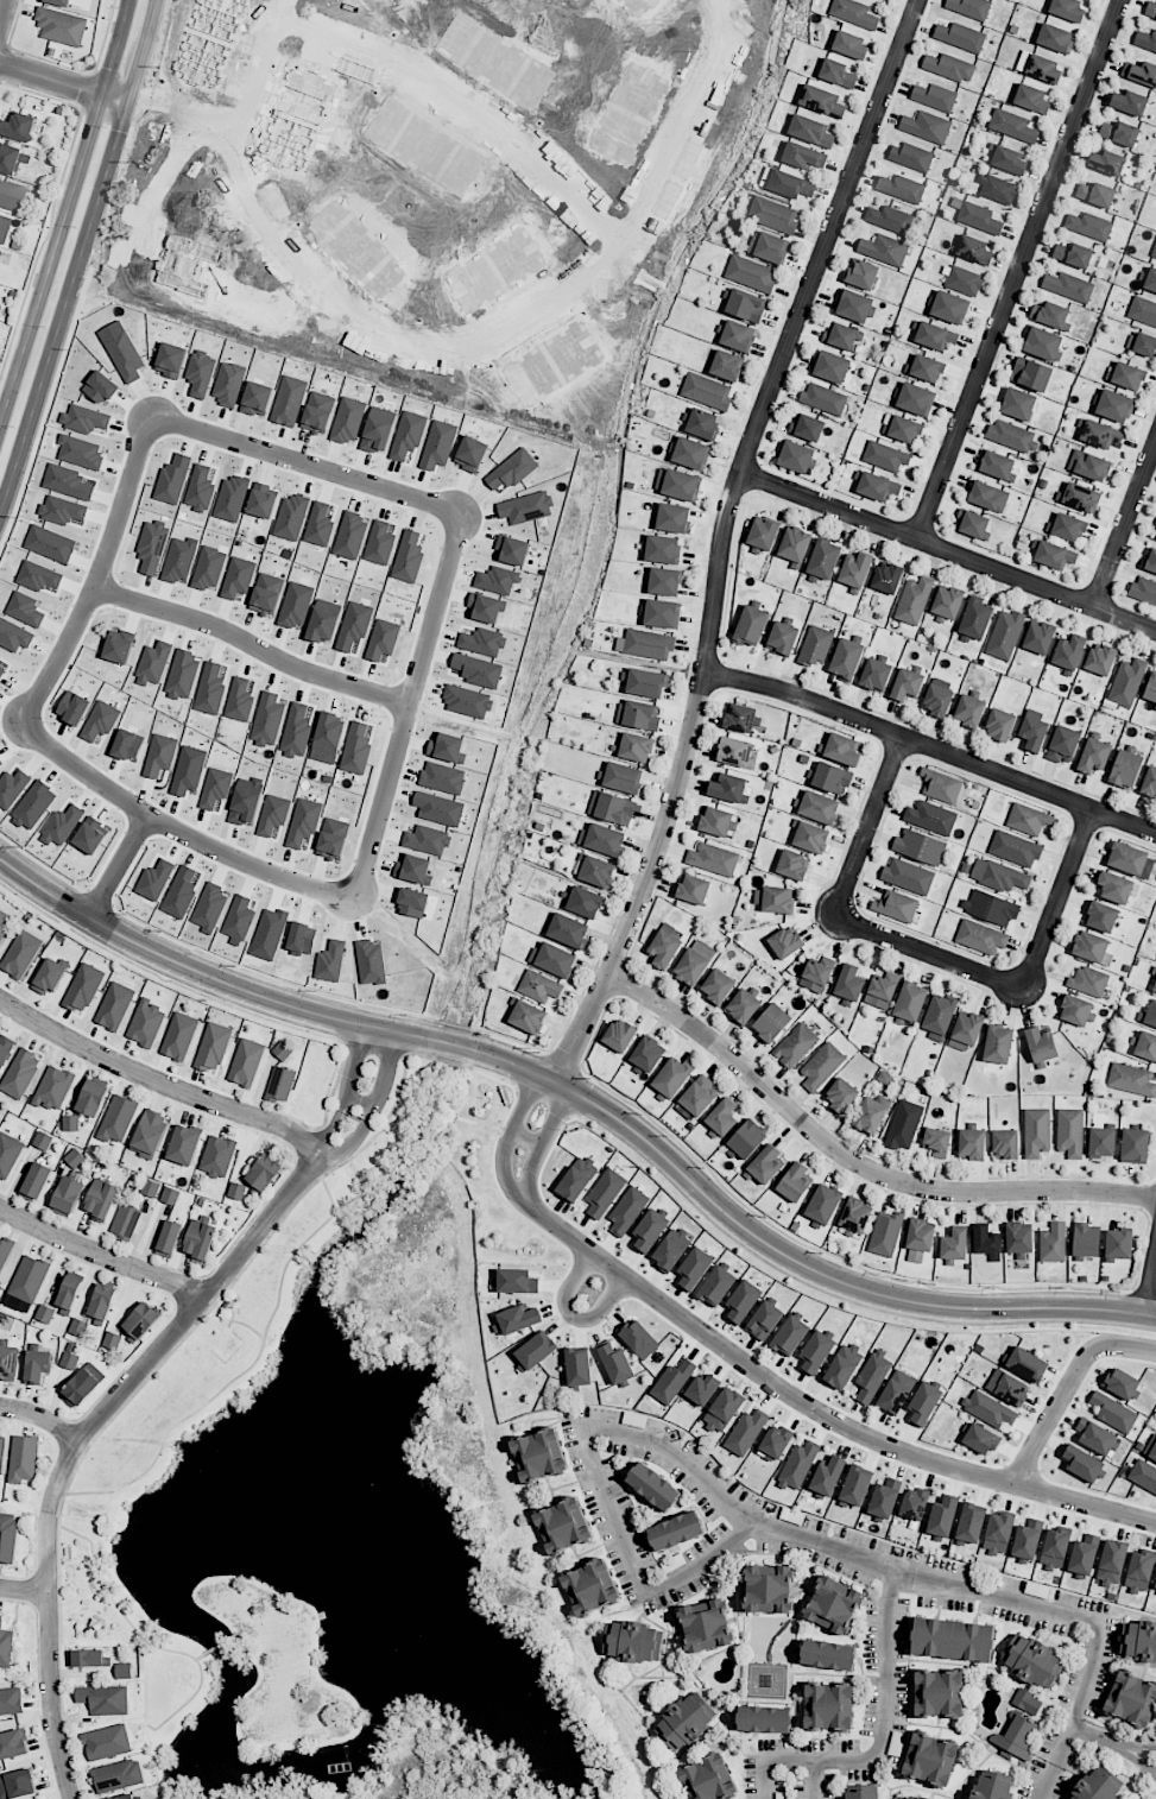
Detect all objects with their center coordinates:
building: (67, 1)
building: (969, 7)
building: (1067, 10)
building: (1150, 10)
street lamp: (139, 13)
building: (853, 13)
road: (6, 20)
building: (64, 25)
building: (960, 36)
building: (1055, 37)
building: (1145, 40)
building: (849, 45)
building: (949, 67)
building: (1038, 67)
building: (1141, 71)
building: (836, 74)
road: (259, 78)
road: (63, 83)
building: (935, 96)
road: (466, 97)
building: (1031, 99)
building: (821, 101)
building: (1130, 102)
building: (24, 126)
building: (927, 126)
building: (1012, 126)
street lamp: (106, 127)
building: (810, 131)
building: (1119, 133)
building: (803, 156)
building: (911, 157)
building: (13, 158)
building: (1007, 159)
building: (1107, 162)
building: (790, 184)
building: (902, 188)
building: (997, 189)
building: (1095, 194)
building: (15, 196)
road: (65, 212)
building: (772, 214)
building: (978, 217)
building: (890, 219)
building: (1, 222)
street lamp: (75, 226)
building: (1089, 226)
building: (767, 246)
building: (884, 250)
building: (974, 250)
building: (1154, 252)
building: (1, 254)
building: (1073, 254)
road: (78, 255)
road: (1017, 269)
building: (750, 273)
building: (861, 274)
building: (964, 279)
building: (1150, 280)
building: (1068, 286)
building: (745, 305)
building: (854, 305)
building: (949, 307)
building: (1143, 310)
building: (1051, 315)
street lamp: (42, 327)
road: (466, 332)
building: (738, 335)
building: (841, 336)
building: (935, 336)
building: (1042, 343)
building: (1142, 343)
building: (726, 365)
building: (832, 366)
building: (926, 368)
building: (1031, 374)
building: (1127, 375)
building: (706, 391)
building: (823, 398)
building: (916, 399)
building: (1018, 403)
building: (1114, 406)
building: (702, 423)
street lamp: (12, 425)
building: (807, 427)
building: (904, 429)
building: (1011, 435)
building: (1101, 435)
building: (691, 453)
building: (885, 456)
building: (797, 457)
building: (994, 465)
building: (1088, 465)
road: (309, 466)
building: (681, 485)
building: (878, 486)
building: (988, 497)
building: (1081, 497)
building: (672, 518)
building: (973, 524)
road: (1125, 525)
building: (1067, 526)
building: (762, 535)
building: (1155, 536)
road: (720, 537)
building: (795, 544)
building: (663, 549)
road: (947, 549)
building: (1054, 555)
building: (823, 560)
building: (1151, 562)
building: (855, 570)
road: (100, 575)
building: (886, 577)
building: (664, 581)
building: (1143, 591)
building: (914, 600)
building: (947, 602)
building: (662, 613)
building: (975, 618)
building: (751, 625)
building: (1005, 635)
building: (1038, 637)
building: (782, 638)
building: (649, 644)
building: (815, 645)
road: (252, 649)
building: (1069, 651)
building: (846, 658)
building: (1100, 659)
building: (876, 675)
building: (646, 682)
building: (1126, 682)
building: (907, 684)
building: (1150, 688)
building: (937, 700)
road: (409, 709)
building: (968, 711)
building: (638, 714)
building: (740, 718)
building: (1000, 725)
building: (1034, 733)
building: (1063, 744)
building: (636, 747)
road: (931, 747)
building: (841, 749)
building: (735, 751)
building: (1094, 756)
building: (1125, 769)
building: (623, 777)
building: (832, 778)
building: (1149, 783)
building: (941, 785)
building: (727, 788)
building: (819, 807)
building: (612, 808)
building: (930, 816)
building: (1028, 819)
building: (715, 821)
road: (867, 825)
road: (177, 829)
building: (602, 839)
street lamp: (19, 846)
building: (920, 846)
building: (1015, 848)
building: (1127, 858)
building: (713, 859)
road: (116, 865)
building: (792, 865)
road: (46, 869)
building: (596, 871)
building: (908, 876)
building: (999, 876)
building: (1114, 886)
building: (694, 889)
road: (100, 897)
building: (773, 898)
road: (1056, 898)
building: (585, 902)
building: (896, 905)
building: (990, 908)
building: (1101, 916)
building: (4, 923)
street lamp: (159, 930)
building: (568, 930)
building: (980, 936)
building: (787, 941)
building: (664, 946)
building: (1092, 948)
road: (929, 951)
building: (21, 953)
building: (554, 959)
building: (694, 962)
street lamp: (234, 966)
building: (816, 974)
building: (49, 977)
road: (163, 980)
building: (1088, 981)
building: (848, 984)
building: (539, 986)
building: (716, 986)
building: (83, 987)
building: (1154, 987)
street lamp: (315, 991)
building: (882, 991)
road: (318, 995)
building: (910, 1001)
building: (114, 1005)
building: (745, 1005)
building: (1075, 1010)
building: (1151, 1014)
street lamp: (405, 1015)
building: (939, 1016)
building: (528, 1017)
building: (771, 1022)
building: (146, 1023)
building: (965, 1031)
street lamp: (489, 1035)
building: (620, 1035)
building: (179, 1036)
road: (431, 1037)
road: (342, 1042)
road: (555, 1042)
building: (796, 1044)
building: (998, 1044)
building: (1041, 1044)
building: (1146, 1046)
building: (213, 1047)
road: (372, 1047)
building: (5, 1048)
road: (473, 1048)
building: (282, 1050)
road: (550, 1050)
road: (403, 1054)
road: (585, 1054)
building: (648, 1054)
road: (564, 1059)
road: (354, 1060)
building: (246, 1061)
road: (460, 1063)
road: (580, 1066)
building: (821, 1066)
road: (386, 1069)
road: (533, 1069)
building: (20, 1073)
road: (337, 1074)
building: (671, 1078)
street lamp: (589, 1079)
building: (1131, 1079)
road: (158, 1081)
building: (280, 1084)
building: (53, 1087)
road: (514, 1088)
road: (574, 1090)
road: (398, 1093)
building: (699, 1096)
building: (841, 1096)
building: (91, 1098)
road: (585, 1098)
road: (359, 1100)
road: (544, 1100)
street lamp: (640, 1113)
building: (870, 1115)
road: (506, 1117)
road: (571, 1117)
building: (722, 1117)
building: (118, 1118)
building: (70, 1123)
road: (331, 1125)
building: (903, 1125)
street lamp: (563, 1130)
building: (1036, 1132)
building: (1070, 1132)
building: (149, 1134)
road: (526, 1135)
road: (556, 1137)
road: (352, 1138)
road: (506, 1138)
building: (747, 1140)
building: (42, 1141)
road: (542, 1141)
building: (936, 1142)
building: (1101, 1142)
building: (971, 1143)
building: (184, 1144)
building: (1005, 1144)
building: (1135, 1145)
building: (8, 1154)
building: (217, 1156)
building: (74, 1157)
road: (853, 1161)
building: (764, 1166)
street lamp: (703, 1168)
building: (264, 1172)
building: (577, 1179)
building: (36, 1181)
building: (795, 1182)
building: (150, 1188)
building: (236, 1191)
building: (605, 1193)
building: (67, 1195)
building: (169, 1195)
building: (101, 1199)
building: (822, 1205)
building: (627, 1210)
building: (855, 1216)
street lamp: (764, 1217)
building: (126, 1220)
road: (1149, 1223)
road: (1154, 1224)
building: (650, 1230)
building: (885, 1233)
road: (1144, 1237)
building: (169, 1238)
building: (1019, 1239)
building: (1086, 1239)
building: (200, 1241)
building: (920, 1241)
building: (985, 1241)
building: (1053, 1243)
building: (954, 1244)
building: (1118, 1244)
building: (671, 1249)
building: (5, 1251)
road: (100, 1254)
street lamp: (821, 1254)
road: (829, 1254)
building: (694, 1268)
street lamp: (907, 1280)
building: (517, 1281)
building: (716, 1286)
building: (0, 1288)
street lamp: (1065, 1288)
road: (1133, 1288)
road: (1151, 1288)
street lamp: (993, 1289)
building: (70, 1290)
street lamp: (1119, 1292)
road: (1145, 1292)
building: (102, 1301)
building: (743, 1301)
road: (834, 1304)
building: (44, 1313)
road: (573, 1315)
building: (519, 1318)
building: (141, 1320)
building: (764, 1320)
building: (790, 1336)
building: (639, 1339)
building: (112, 1340)
road: (1075, 1347)
building: (537, 1349)
building: (815, 1352)
building: (69, 1361)
building: (8, 1362)
building: (614, 1363)
building: (1026, 1364)
building: (37, 1365)
building: (577, 1366)
building: (842, 1366)
building: (872, 1376)
building: (671, 1381)
building: (1122, 1383)
building: (83, 1384)
building: (1007, 1387)
road: (1067, 1387)
building: (702, 1389)
building: (896, 1391)
building: (924, 1403)
building: (988, 1409)
building: (722, 1410)
road: (817, 1412)
building: (1113, 1412)
road: (40, 1416)
building: (746, 1432)
building: (1095, 1437)
road: (77, 1438)
building: (980, 1439)
building: (775, 1441)
building: (1, 1450)
building: (1152, 1452)
building: (538, 1456)
building: (23, 1458)
building: (1082, 1464)
building: (797, 1466)
building: (1143, 1475)
building: (827, 1476)
building: (653, 1486)
building: (855, 1486)
building: (885, 1496)
building: (914, 1503)
road: (729, 1510)
building: (943, 1515)
building: (971, 1522)
building: (563, 1526)
building: (676, 1530)
building: (998, 1533)
building: (7, 1536)
building: (1028, 1538)
building: (1055, 1547)
building: (1084, 1554)
building: (1112, 1563)
building: (1139, 1571)
road: (637, 1572)
building: (590, 1587)
building: (769, 1589)
building: (1155, 1589)
road: (24, 1590)
building: (1037, 1590)
building: (833, 1605)
road: (1084, 1624)
building: (706, 1626)
building: (952, 1639)
building: (633, 1641)
building: (1138, 1641)
building: (5, 1646)
building: (828, 1655)
building: (88, 1658)
building: (1032, 1661)
building: (122, 1669)
building: (939, 1693)
building: (103, 1699)
building: (1131, 1699)
building: (11, 1702)
building: (828, 1706)
building: (764, 1719)
building: (684, 1722)
building: (1017, 1736)
road: (876, 1737)
building: (107, 1742)
building: (13, 1743)
road: (1113, 1746)
building: (930, 1759)
building: (118, 1775)
building: (708, 1779)
road: (814, 1779)
building: (17, 1785)
building: (1099, 1785)
building: (992, 1787)
building: (863, 1792)
building: (131, 1797)
building: (907, 1797)

